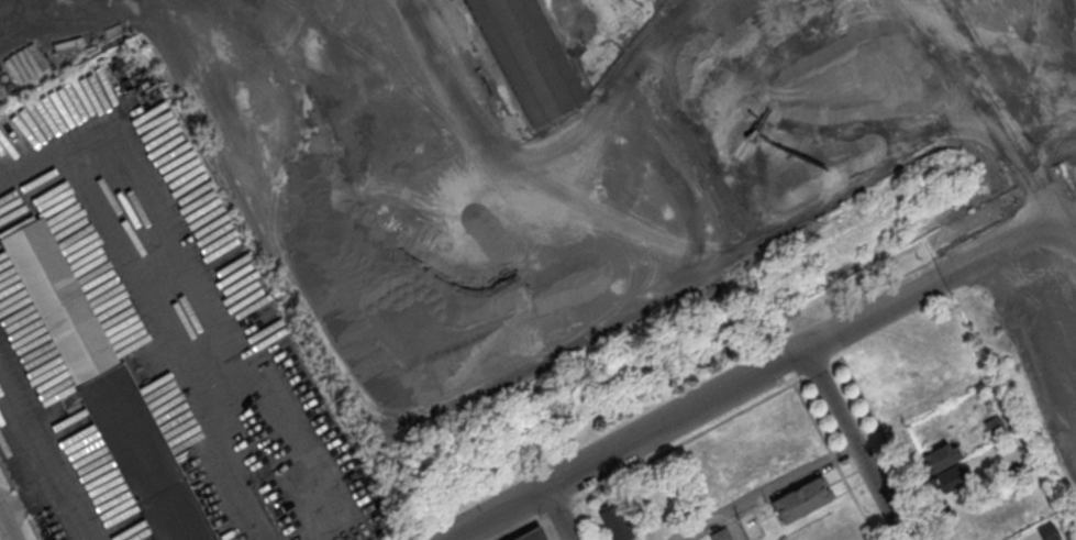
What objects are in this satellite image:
building: (517, 59)
road: (1056, 220)
road: (989, 251)
road: (166, 300)
building: (1008, 355)
building: (104, 386)
road: (769, 395)
road: (697, 406)
road: (854, 444)
road: (41, 458)
building: (944, 467)
road: (770, 494)
building: (801, 499)
road: (81, 505)
road: (557, 514)
building: (615, 522)
road: (733, 528)
road: (4, 529)
building: (721, 535)
building: (532, 536)

